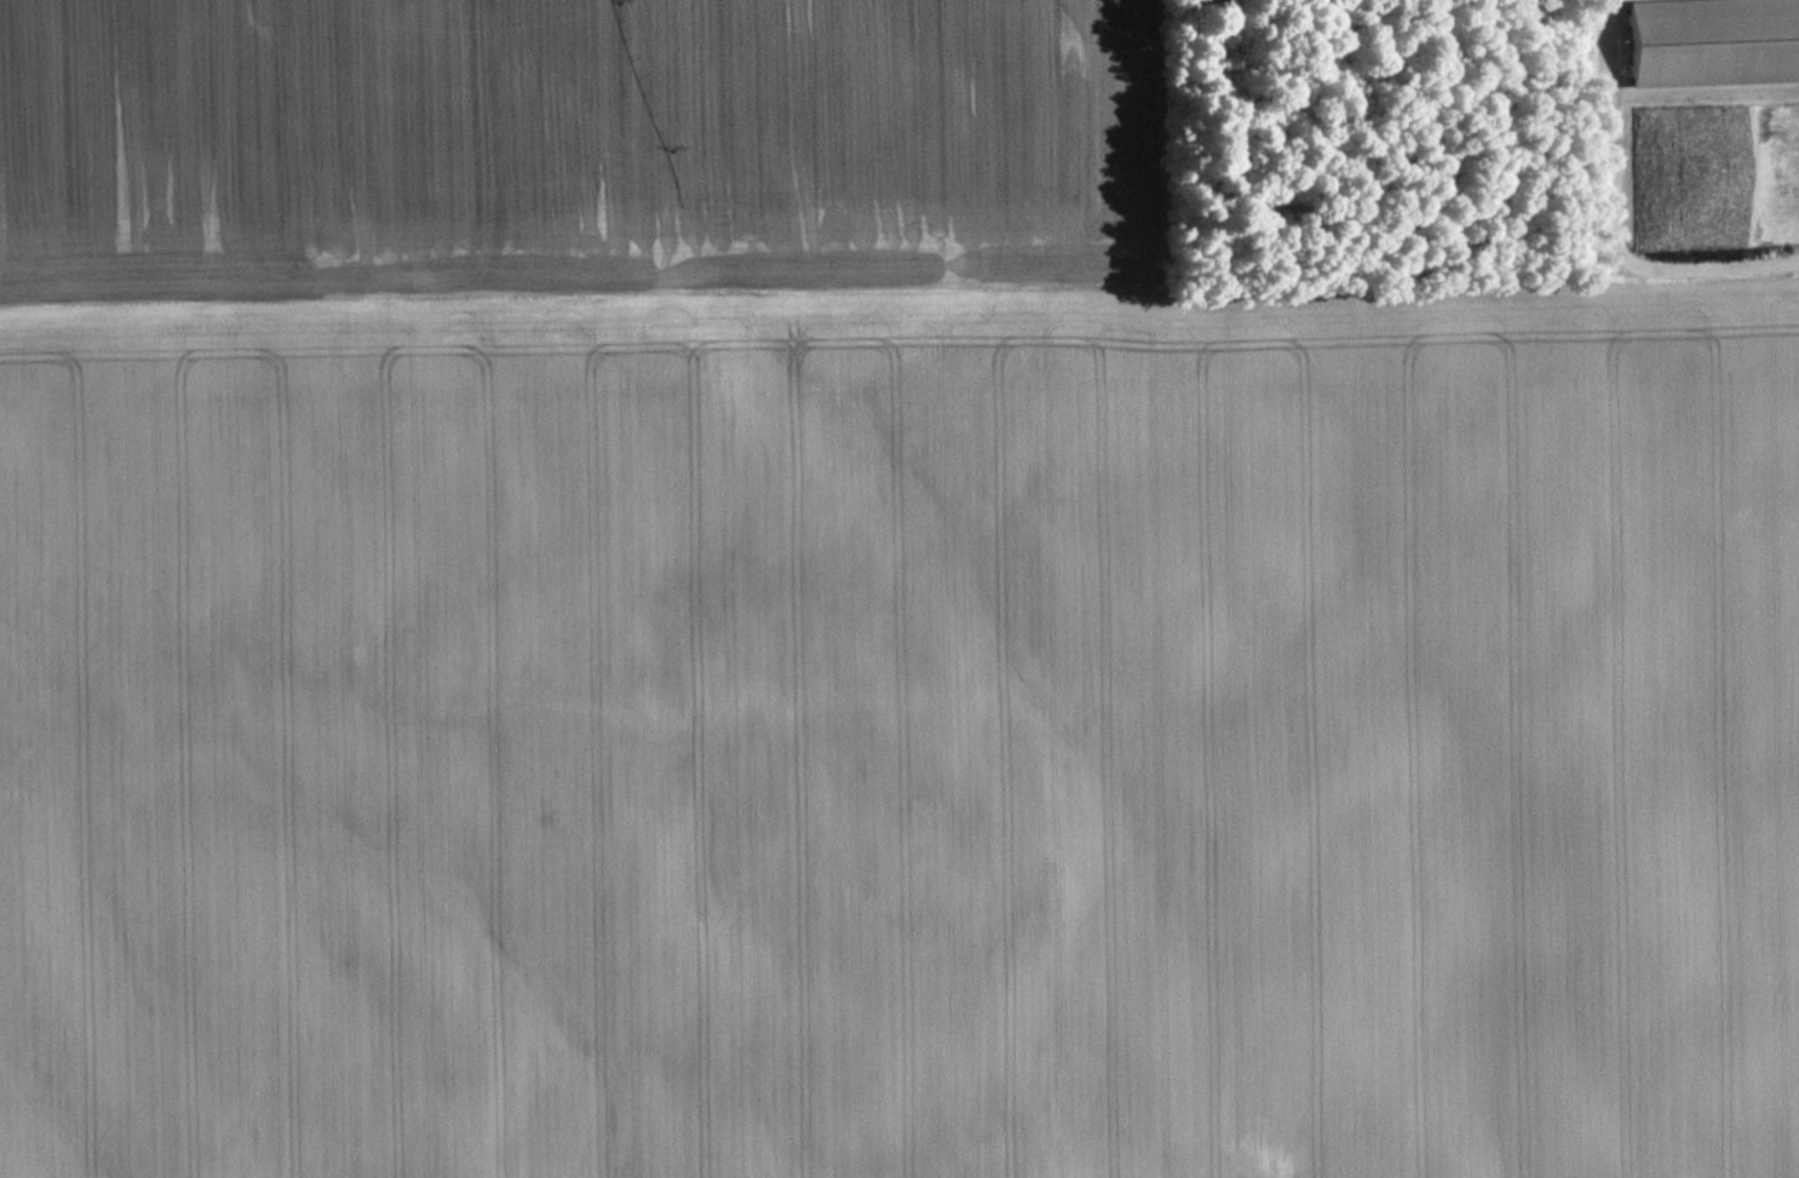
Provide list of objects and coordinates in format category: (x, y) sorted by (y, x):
building: (1711, 41)
building: (1768, 178)
road: (1605, 219)

